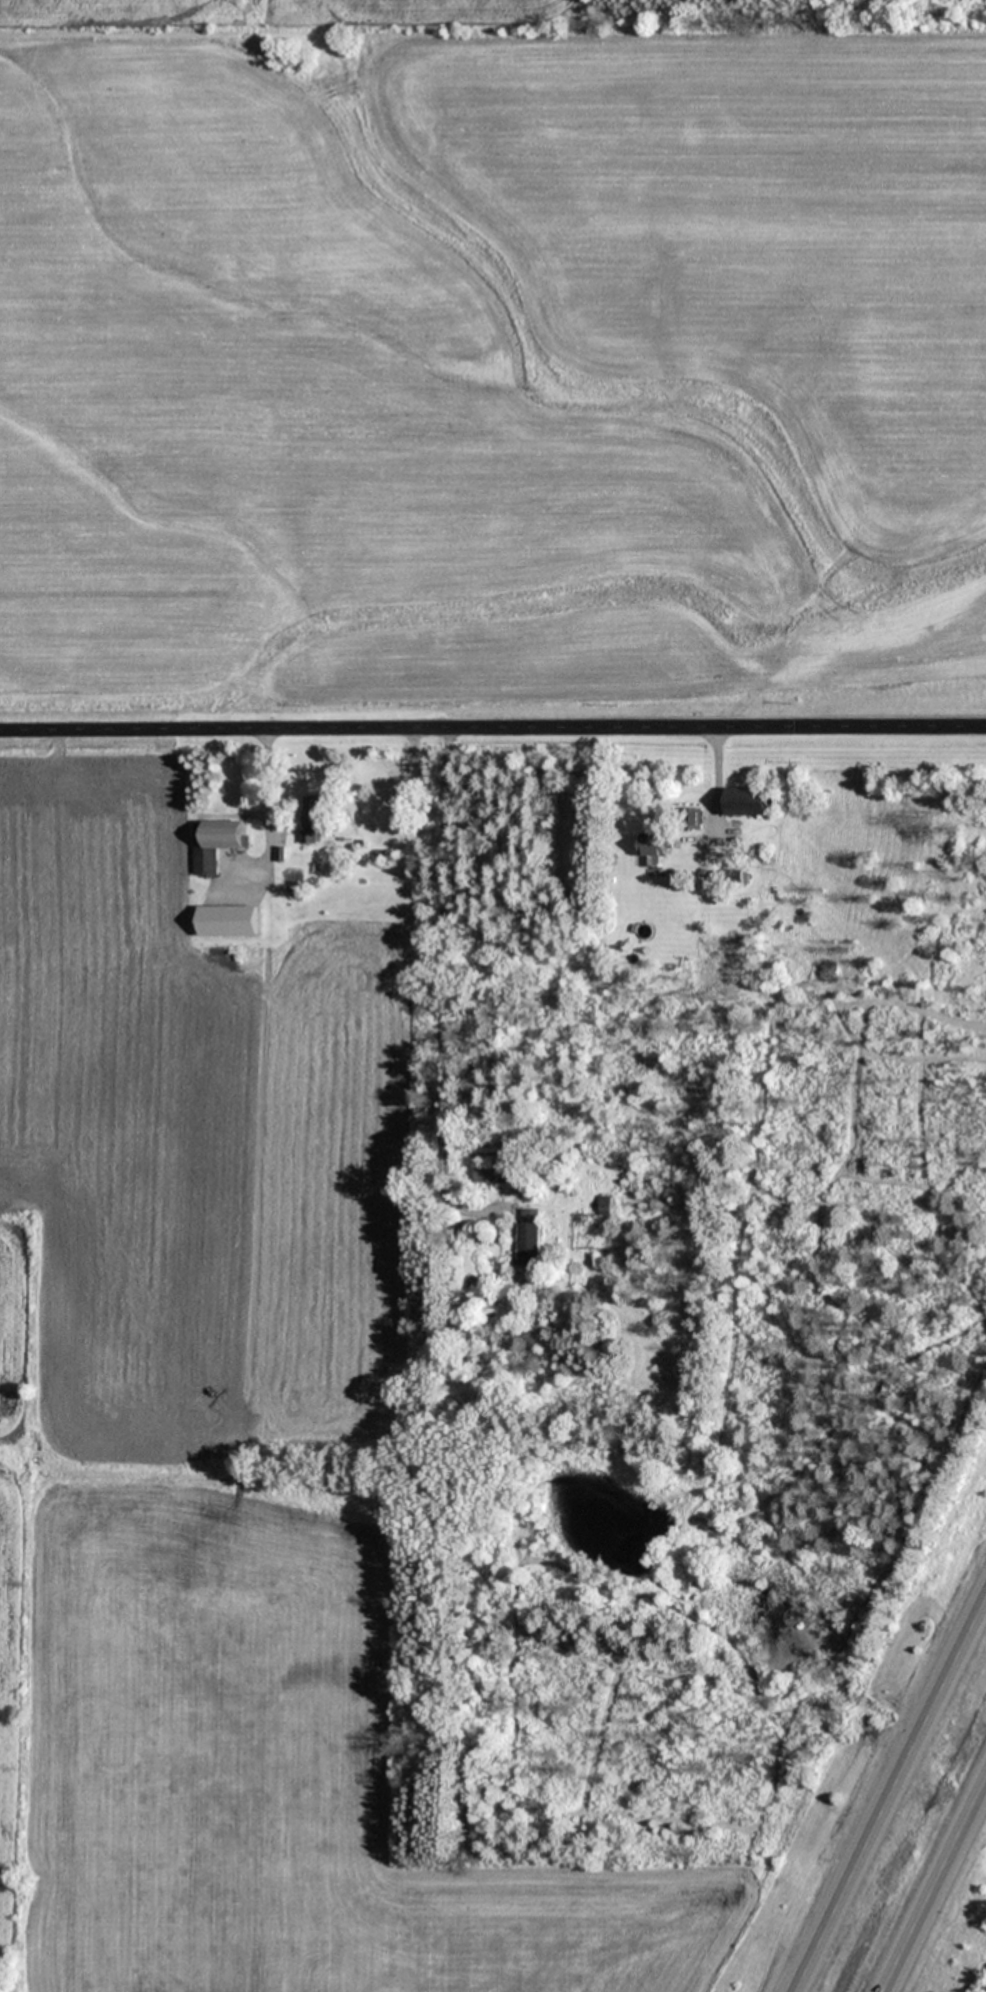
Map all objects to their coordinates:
road: (492, 724)
building: (751, 799)
building: (319, 815)
building: (217, 843)
building: (657, 843)
road: (429, 972)
building: (491, 1171)
building: (529, 1235)
road: (889, 1794)
road: (936, 1891)

